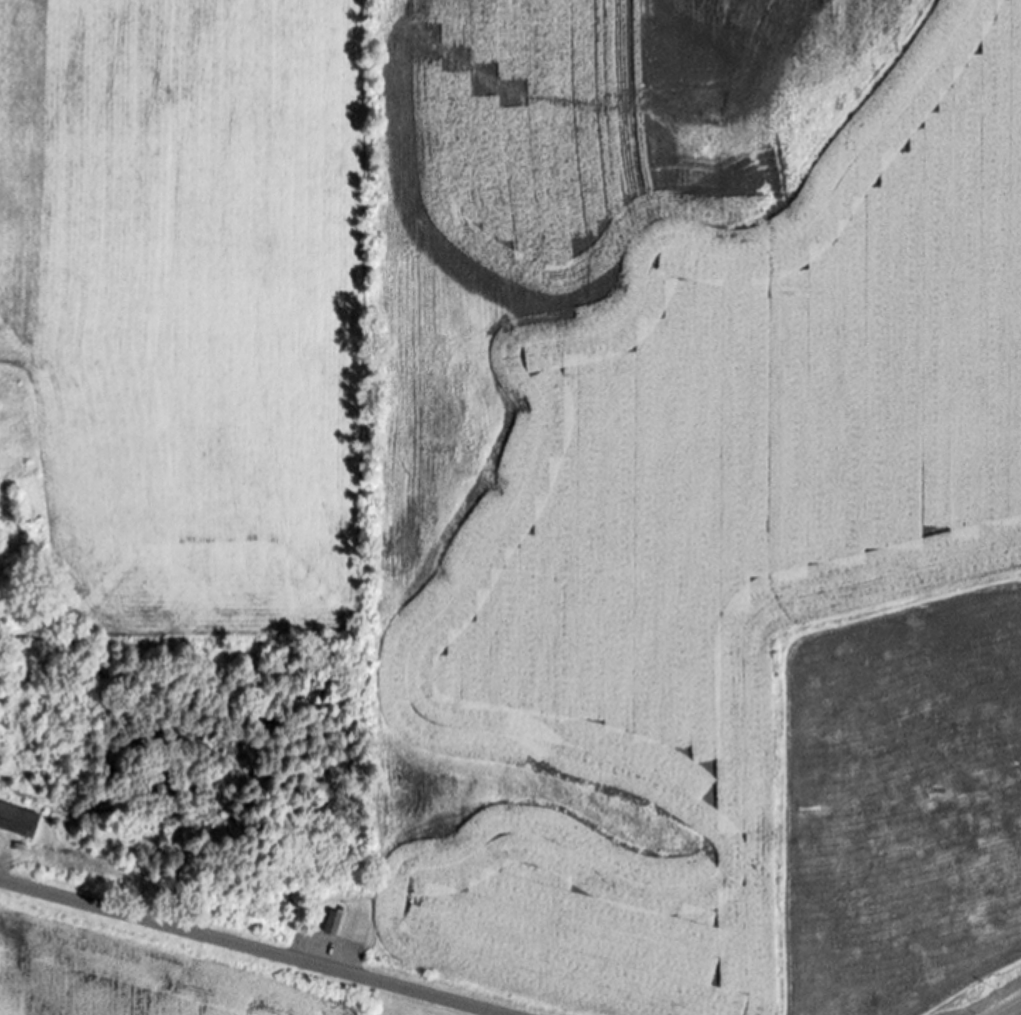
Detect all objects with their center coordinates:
building: (20, 819)
building: (334, 921)
road: (251, 948)
road: (1019, 1014)

